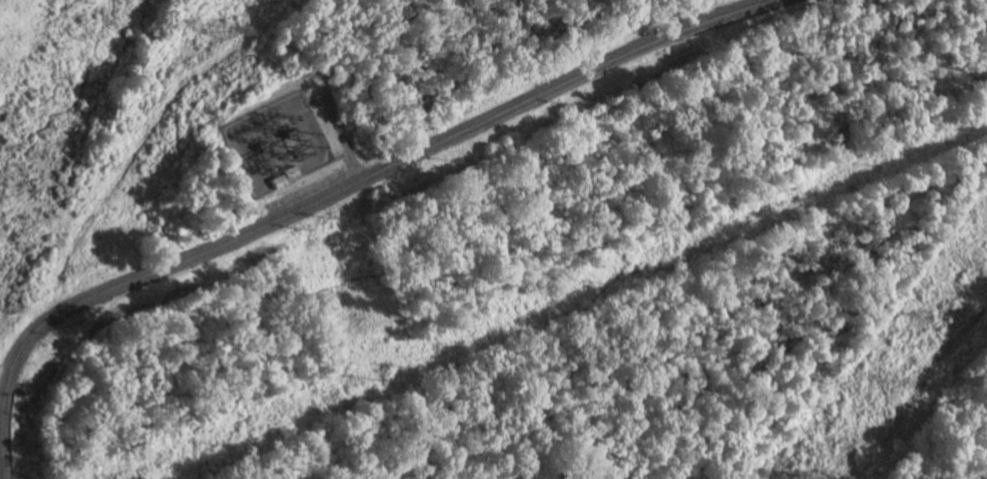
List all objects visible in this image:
power tower: (222, 31)
road: (340, 132)
power substation: (276, 145)
building: (289, 173)
building: (277, 182)
road: (328, 196)
road: (36, 274)

